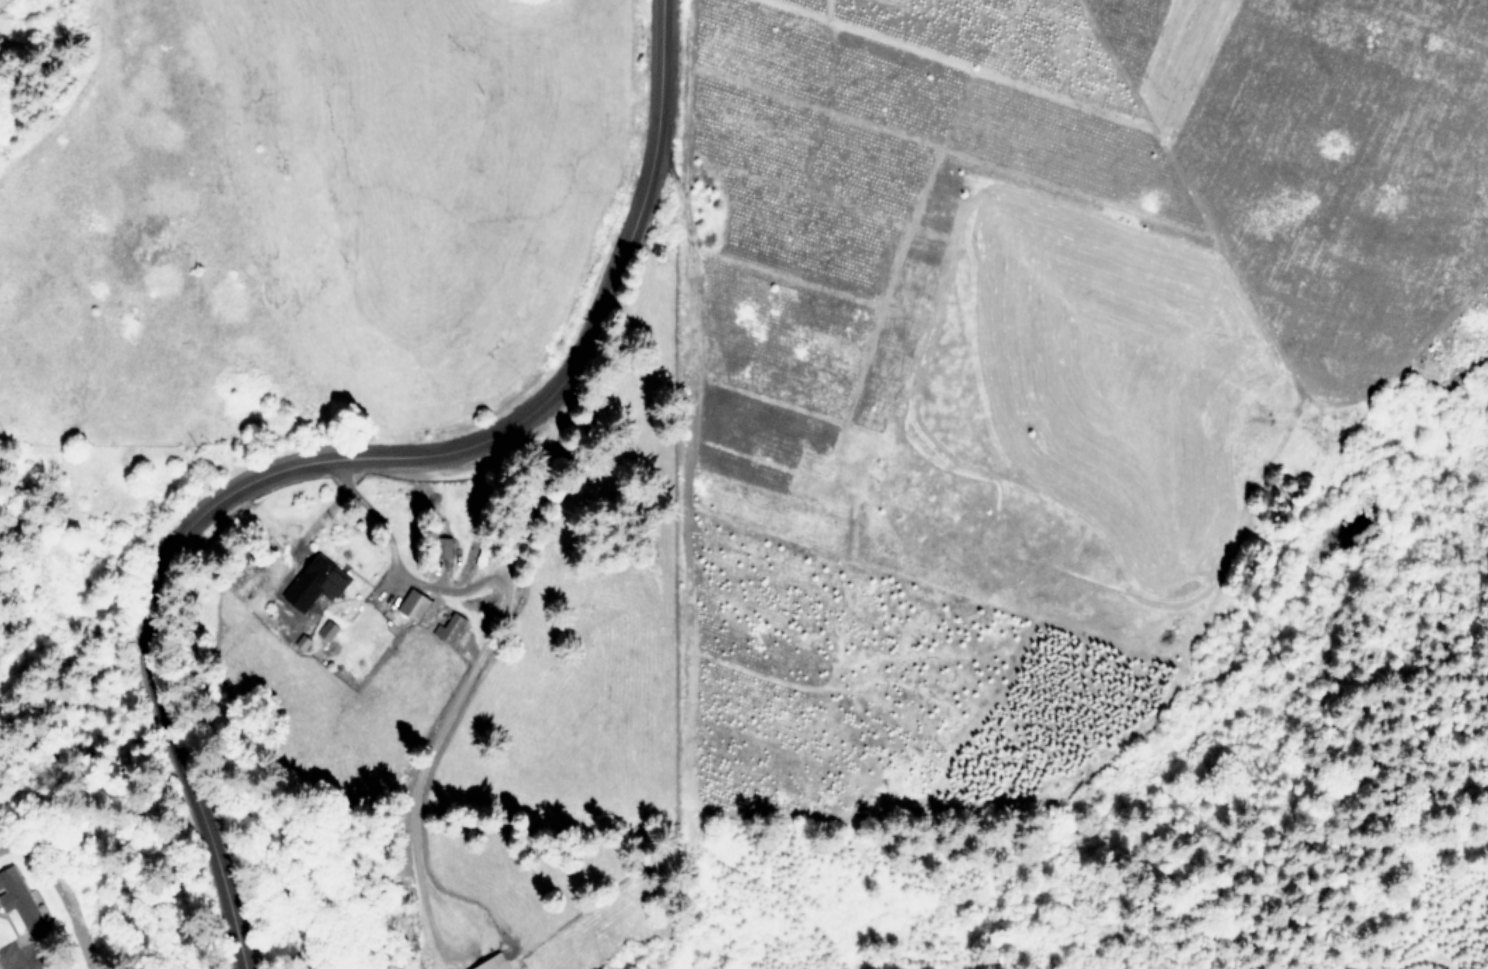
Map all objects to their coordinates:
road: (334, 452)
road: (372, 515)
building: (317, 582)
building: (416, 603)
building: (452, 627)
building: (328, 628)
building: (21, 899)
road: (28, 963)
building: (496, 963)

